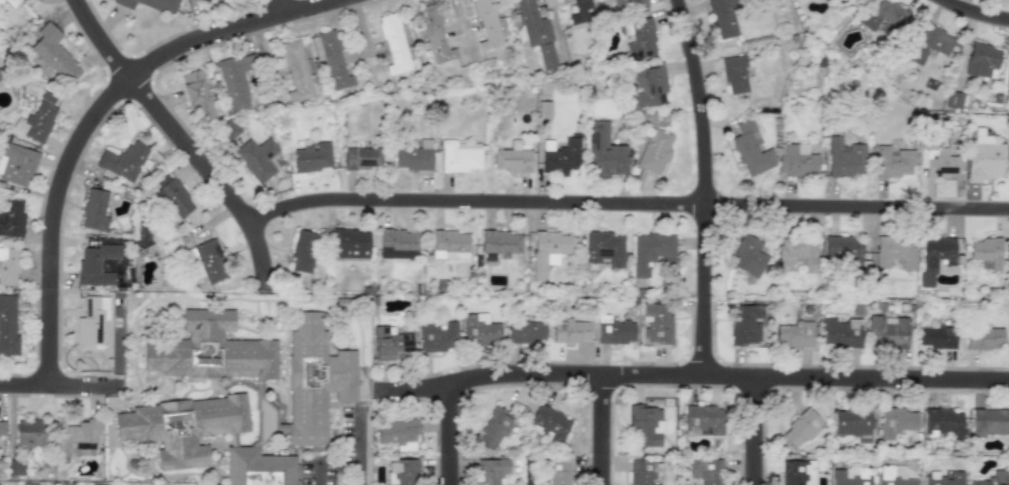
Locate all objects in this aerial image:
building: (209, 1)
building: (13, 2)
building: (150, 4)
building: (628, 5)
road: (291, 9)
building: (582, 11)
building: (881, 14)
building: (723, 18)
road: (968, 18)
building: (486, 24)
building: (536, 32)
building: (435, 35)
building: (639, 38)
building: (393, 43)
building: (930, 43)
building: (51, 55)
building: (333, 60)
building: (980, 60)
building: (295, 71)
building: (735, 74)
building: (235, 79)
building: (648, 84)
building: (197, 96)
building: (953, 100)
road: (104, 114)
building: (651, 119)
building: (36, 121)
building: (227, 129)
road: (187, 144)
building: (750, 149)
building: (604, 151)
building: (654, 151)
building: (459, 156)
building: (560, 156)
building: (312, 157)
building: (362, 157)
building: (413, 157)
building: (984, 157)
building: (256, 158)
building: (511, 158)
building: (844, 158)
building: (122, 160)
building: (796, 160)
building: (893, 161)
building: (937, 162)
building: (16, 163)
road: (705, 190)
building: (173, 197)
road: (628, 206)
building: (94, 210)
building: (11, 217)
building: (397, 240)
building: (500, 242)
building: (349, 243)
building: (449, 244)
building: (603, 248)
building: (548, 250)
building: (651, 250)
building: (843, 250)
building: (302, 251)
building: (893, 251)
building: (796, 252)
building: (985, 253)
building: (748, 256)
building: (934, 258)
building: (210, 260)
building: (96, 264)
building: (8, 266)
building: (91, 320)
building: (745, 324)
building: (7, 325)
building: (479, 330)
building: (614, 330)
building: (525, 331)
building: (570, 331)
building: (839, 332)
building: (887, 332)
building: (794, 334)
building: (935, 336)
building: (437, 337)
building: (983, 337)
building: (391, 344)
building: (210, 349)
building: (314, 380)
road: (693, 384)
road: (59, 389)
building: (702, 420)
building: (895, 421)
building: (943, 421)
building: (989, 422)
building: (548, 423)
building: (852, 423)
building: (645, 425)
building: (183, 427)
building: (493, 427)
building: (2, 428)
building: (800, 428)
building: (30, 432)
building: (399, 434)
road: (607, 434)
road: (760, 435)
road: (455, 437)
building: (77, 438)
road: (359, 445)
building: (257, 468)
building: (491, 470)
building: (705, 470)
building: (402, 472)
building: (558, 472)
building: (645, 472)
building: (796, 472)
road: (318, 474)
building: (850, 476)
building: (893, 476)
building: (943, 477)
building: (991, 479)

